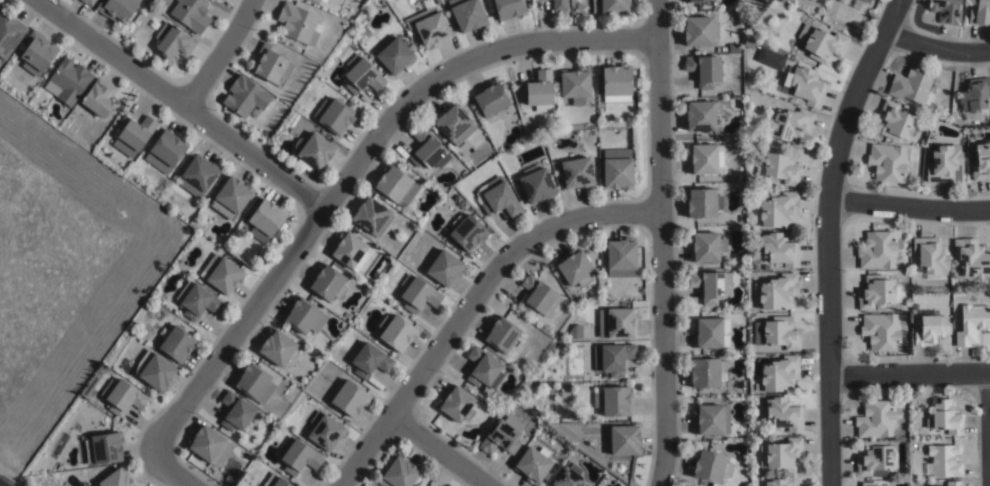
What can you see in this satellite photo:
building: (318, 0)
building: (323, 0)
building: (699, 0)
building: (844, 1)
building: (88, 2)
building: (860, 4)
building: (559, 5)
building: (612, 6)
building: (116, 9)
building: (510, 9)
building: (945, 11)
building: (979, 13)
building: (192, 14)
building: (468, 14)
building: (298, 23)
building: (154, 24)
building: (428, 25)
building: (699, 30)
building: (9, 32)
building: (174, 40)
building: (821, 42)
road: (937, 46)
building: (734, 47)
building: (36, 52)
road: (220, 54)
building: (395, 56)
building: (270, 64)
building: (704, 69)
building: (361, 75)
building: (67, 81)
building: (617, 83)
building: (576, 85)
building: (804, 85)
building: (913, 86)
building: (539, 90)
building: (244, 96)
building: (491, 98)
building: (974, 98)
building: (98, 99)
road: (183, 104)
building: (701, 114)
building: (334, 115)
building: (895, 121)
building: (454, 123)
building: (790, 123)
building: (133, 134)
building: (739, 145)
building: (313, 150)
building: (428, 150)
building: (165, 152)
building: (705, 158)
building: (887, 162)
building: (981, 162)
building: (942, 163)
building: (778, 166)
road: (352, 171)
building: (578, 172)
building: (618, 173)
building: (198, 176)
building: (396, 185)
building: (537, 185)
building: (232, 197)
building: (499, 197)
building: (702, 202)
road: (908, 206)
building: (779, 209)
building: (372, 217)
building: (267, 220)
building: (467, 233)
road: (826, 236)
road: (661, 243)
building: (706, 247)
building: (778, 250)
building: (878, 250)
building: (350, 251)
building: (930, 257)
building: (622, 258)
building: (755, 260)
building: (971, 262)
building: (575, 267)
building: (445, 268)
building: (222, 274)
building: (327, 283)
building: (710, 285)
building: (777, 292)
building: (876, 292)
building: (417, 294)
building: (538, 297)
building: (972, 299)
building: (197, 300)
road: (471, 303)
building: (303, 316)
building: (621, 323)
building: (971, 324)
building: (929, 330)
building: (882, 332)
building: (396, 333)
building: (710, 333)
building: (781, 333)
building: (501, 335)
building: (178, 344)
building: (276, 348)
building: (613, 358)
building: (369, 361)
building: (483, 369)
building: (155, 371)
building: (705, 373)
building: (780, 375)
road: (909, 375)
building: (253, 383)
building: (123, 398)
building: (349, 400)
road: (989, 401)
building: (615, 402)
building: (457, 405)
building: (235, 412)
building: (782, 415)
building: (877, 419)
building: (944, 419)
building: (711, 420)
building: (325, 433)
building: (503, 437)
building: (625, 441)
building: (206, 446)
building: (106, 449)
road: (438, 452)
building: (248, 456)
building: (781, 456)
building: (297, 457)
building: (875, 460)
building: (943, 461)
building: (533, 467)
building: (711, 467)
road: (169, 471)
building: (399, 474)
building: (117, 479)
building: (568, 479)
building: (275, 481)
building: (776, 483)
building: (868, 484)
building: (953, 484)

